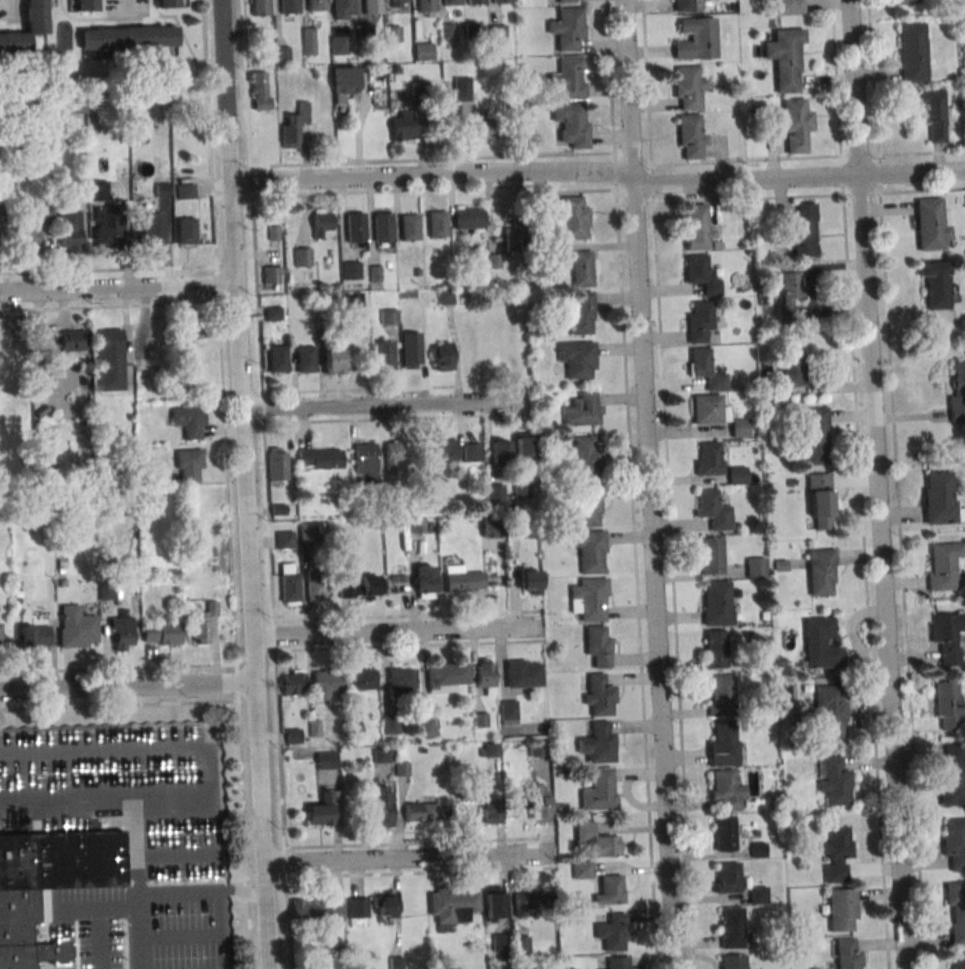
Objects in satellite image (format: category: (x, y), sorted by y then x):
building: (500, 1)
building: (563, 1)
road: (124, 2)
building: (450, 2)
building: (474, 2)
building: (907, 2)
building: (165, 3)
building: (398, 3)
road: (5, 4)
building: (85, 5)
building: (315, 5)
building: (288, 6)
building: (684, 6)
building: (259, 7)
building: (372, 7)
building: (788, 7)
building: (425, 8)
building: (342, 9)
road: (17, 19)
road: (76, 19)
road: (127, 19)
building: (567, 27)
building: (25, 28)
building: (471, 31)
building: (365, 32)
building: (447, 32)
building: (392, 33)
building: (267, 34)
building: (498, 34)
building: (128, 37)
building: (696, 39)
road: (186, 41)
building: (308, 41)
building: (338, 44)
building: (423, 51)
building: (912, 52)
building: (281, 54)
building: (785, 58)
building: (568, 77)
building: (343, 82)
building: (688, 86)
building: (461, 88)
road: (626, 88)
road: (852, 89)
building: (261, 90)
building: (419, 90)
road: (226, 91)
building: (71, 104)
building: (932, 112)
building: (571, 123)
building: (482, 124)
building: (292, 125)
building: (795, 125)
building: (403, 126)
building: (691, 136)
road: (807, 156)
road: (432, 159)
road: (910, 175)
road: (432, 176)
road: (744, 183)
building: (97, 190)
building: (163, 190)
road: (415, 190)
building: (185, 191)
road: (790, 196)
building: (0, 205)
building: (43, 213)
building: (574, 217)
building: (468, 218)
building: (321, 222)
building: (437, 223)
building: (929, 224)
building: (354, 226)
building: (409, 226)
building: (383, 227)
building: (150, 228)
building: (697, 228)
building: (69, 229)
building: (186, 230)
building: (109, 231)
building: (802, 231)
road: (234, 232)
building: (274, 233)
building: (513, 237)
building: (26, 240)
building: (554, 251)
building: (302, 257)
building: (493, 261)
building: (581, 268)
road: (108, 269)
building: (351, 269)
building: (417, 272)
building: (375, 274)
building: (701, 274)
building: (273, 275)
building: (934, 283)
road: (118, 289)
building: (787, 293)
building: (436, 296)
building: (329, 303)
road: (109, 307)
building: (352, 307)
building: (272, 312)
building: (580, 314)
building: (388, 315)
building: (698, 320)
building: (194, 329)
building: (72, 339)
road: (240, 347)
building: (411, 350)
building: (383, 354)
building: (441, 356)
building: (305, 358)
building: (577, 358)
building: (109, 359)
building: (278, 359)
building: (333, 361)
building: (791, 368)
building: (706, 369)
building: (44, 381)
road: (361, 389)
building: (957, 390)
road: (385, 406)
building: (582, 409)
building: (708, 409)
road: (396, 418)
building: (189, 423)
building: (739, 427)
building: (814, 435)
building: (524, 445)
building: (499, 450)
building: (471, 451)
building: (393, 452)
building: (443, 455)
building: (586, 456)
building: (319, 458)
building: (708, 458)
building: (365, 462)
building: (189, 463)
building: (277, 463)
building: (737, 474)
road: (227, 484)
road: (266, 484)
road: (630, 484)
road: (668, 484)
road: (859, 484)
road: (896, 484)
building: (521, 492)
building: (496, 494)
building: (939, 498)
building: (820, 500)
building: (588, 508)
building: (712, 509)
road: (249, 524)
building: (416, 525)
building: (492, 528)
building: (310, 531)
building: (284, 538)
building: (588, 550)
building: (711, 554)
building: (943, 564)
building: (755, 567)
building: (821, 571)
road: (654, 572)
road: (880, 574)
building: (462, 579)
building: (316, 581)
building: (529, 581)
building: (426, 582)
building: (290, 585)
building: (359, 586)
building: (106, 593)
building: (589, 598)
building: (717, 602)
road: (406, 616)
building: (202, 622)
building: (76, 627)
road: (397, 631)
building: (121, 633)
building: (161, 633)
building: (34, 634)
building: (946, 636)
building: (0, 638)
building: (820, 642)
road: (408, 645)
building: (598, 645)
building: (715, 648)
road: (253, 662)
road: (118, 668)
building: (522, 673)
building: (447, 674)
building: (485, 675)
building: (363, 679)
building: (401, 680)
building: (292, 682)
building: (325, 682)
road: (126, 691)
building: (598, 694)
building: (721, 695)
road: (119, 704)
building: (946, 705)
building: (830, 711)
building: (508, 712)
building: (481, 719)
building: (390, 724)
building: (426, 727)
building: (314, 728)
building: (354, 729)
building: (293, 736)
building: (598, 743)
building: (723, 746)
building: (537, 748)
road: (149, 750)
building: (489, 750)
road: (73, 754)
building: (381, 755)
building: (325, 760)
building: (400, 768)
road: (258, 775)
building: (952, 775)
building: (834, 781)
building: (726, 788)
building: (599, 790)
building: (538, 802)
building: (380, 806)
road: (147, 807)
building: (324, 808)
building: (490, 809)
building: (424, 811)
building: (725, 832)
road: (200, 834)
building: (595, 841)
road: (419, 842)
building: (954, 842)
building: (757, 850)
building: (835, 853)
road: (408, 857)
building: (580, 869)
road: (420, 872)
building: (727, 877)
building: (609, 890)
road: (203, 894)
building: (758, 895)
building: (492, 902)
building: (529, 902)
building: (18, 905)
building: (384, 905)
building: (451, 905)
building: (357, 908)
road: (112, 909)
building: (842, 909)
building: (956, 910)
building: (317, 911)
road: (265, 915)
building: (731, 927)
building: (611, 931)
road: (166, 932)
road: (204, 932)
road: (87, 939)
building: (519, 945)
building: (848, 953)
building: (957, 960)
building: (733, 961)
building: (395, 962)
building: (618, 962)

